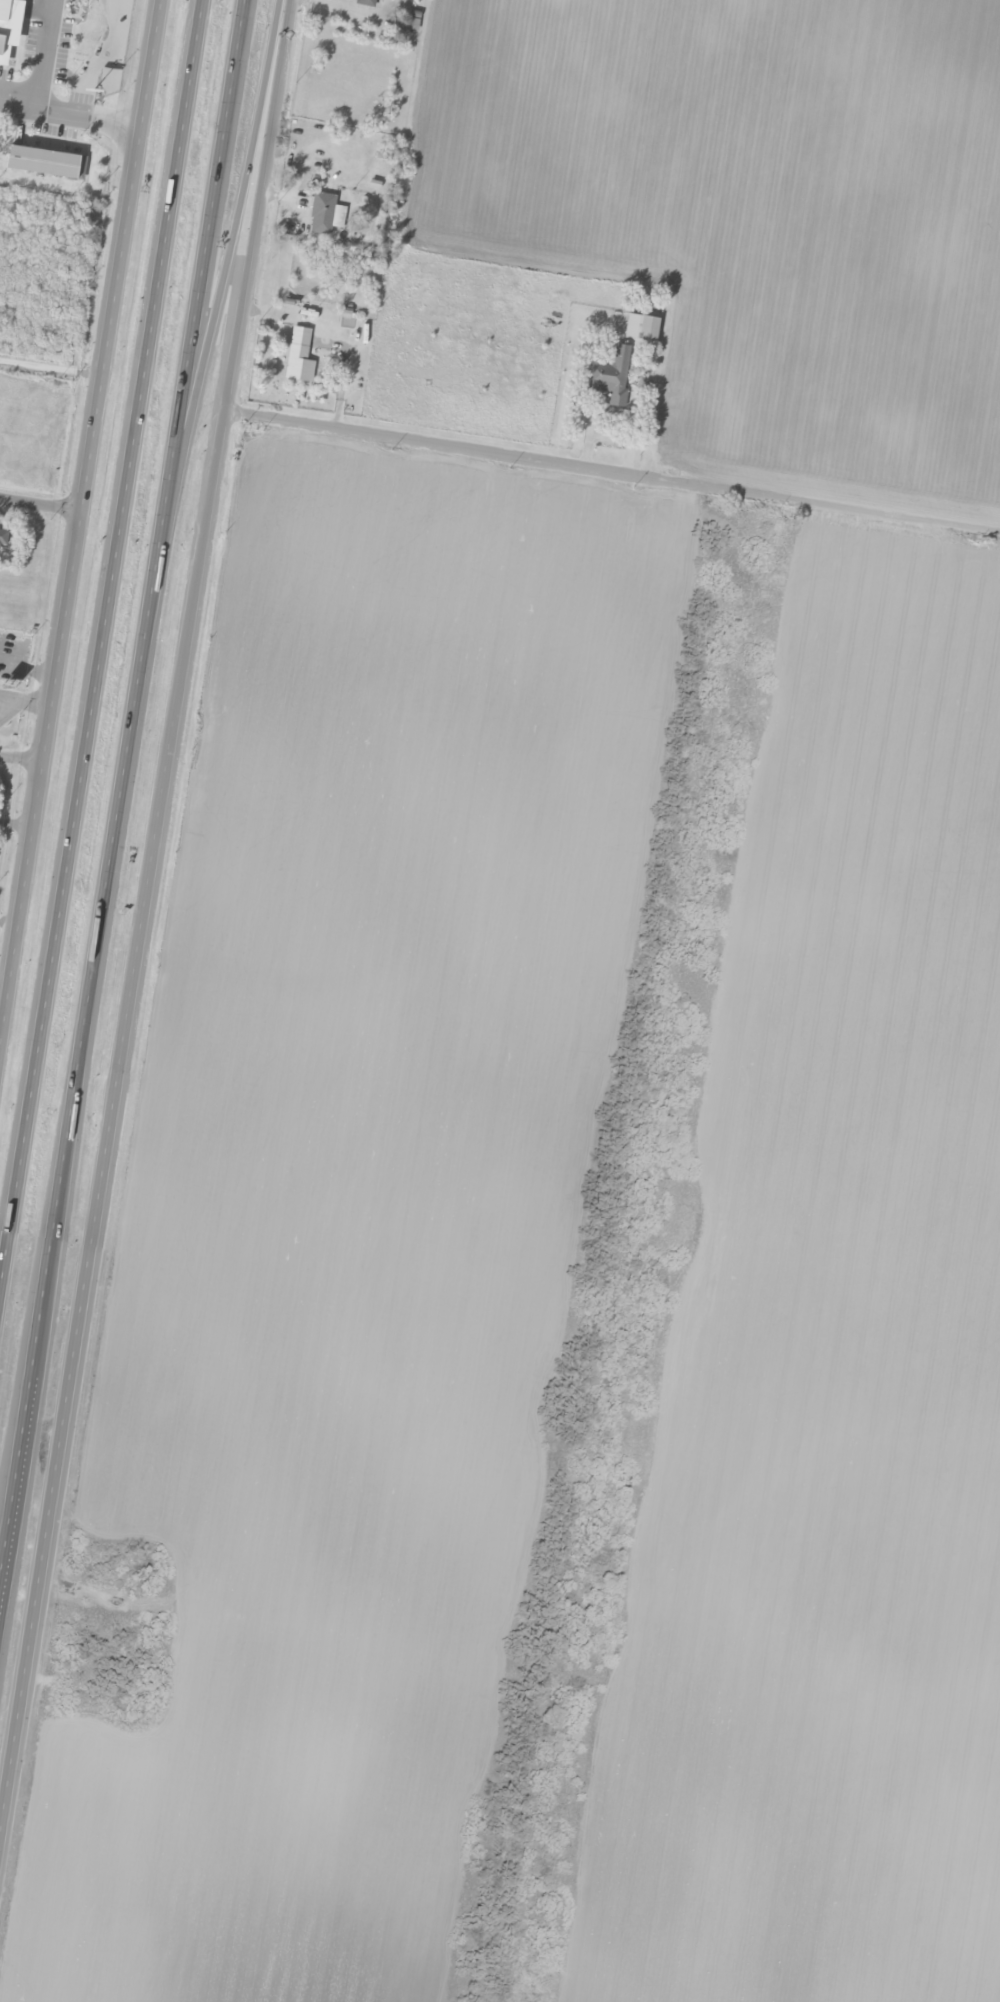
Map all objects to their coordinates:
building: (363, 3)
building: (10, 29)
building: (2, 73)
building: (45, 163)
building: (0, 168)
building: (324, 214)
building: (298, 357)
building: (609, 376)
road: (94, 434)
road: (613, 474)
road: (41, 505)
road: (207, 535)
building: (3, 539)
road: (98, 631)
road: (22, 758)
road: (120, 792)
road: (14, 940)
road: (61, 1457)

